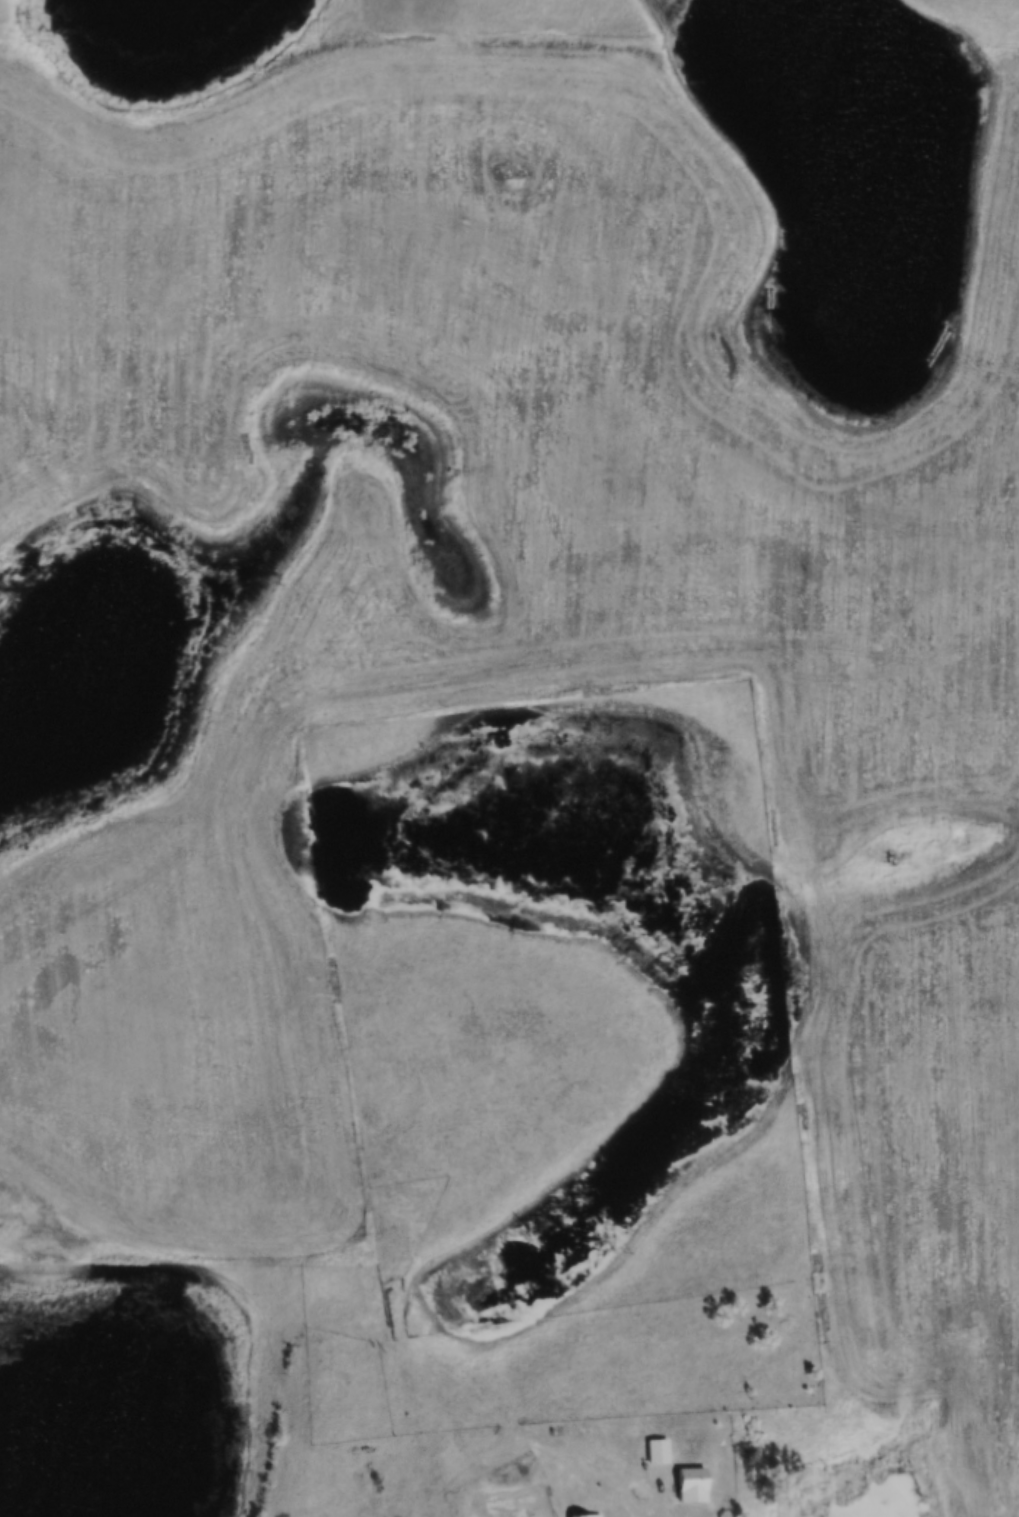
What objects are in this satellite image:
building: (658, 1452)
road: (637, 1478)
building: (692, 1486)
building: (585, 1516)

